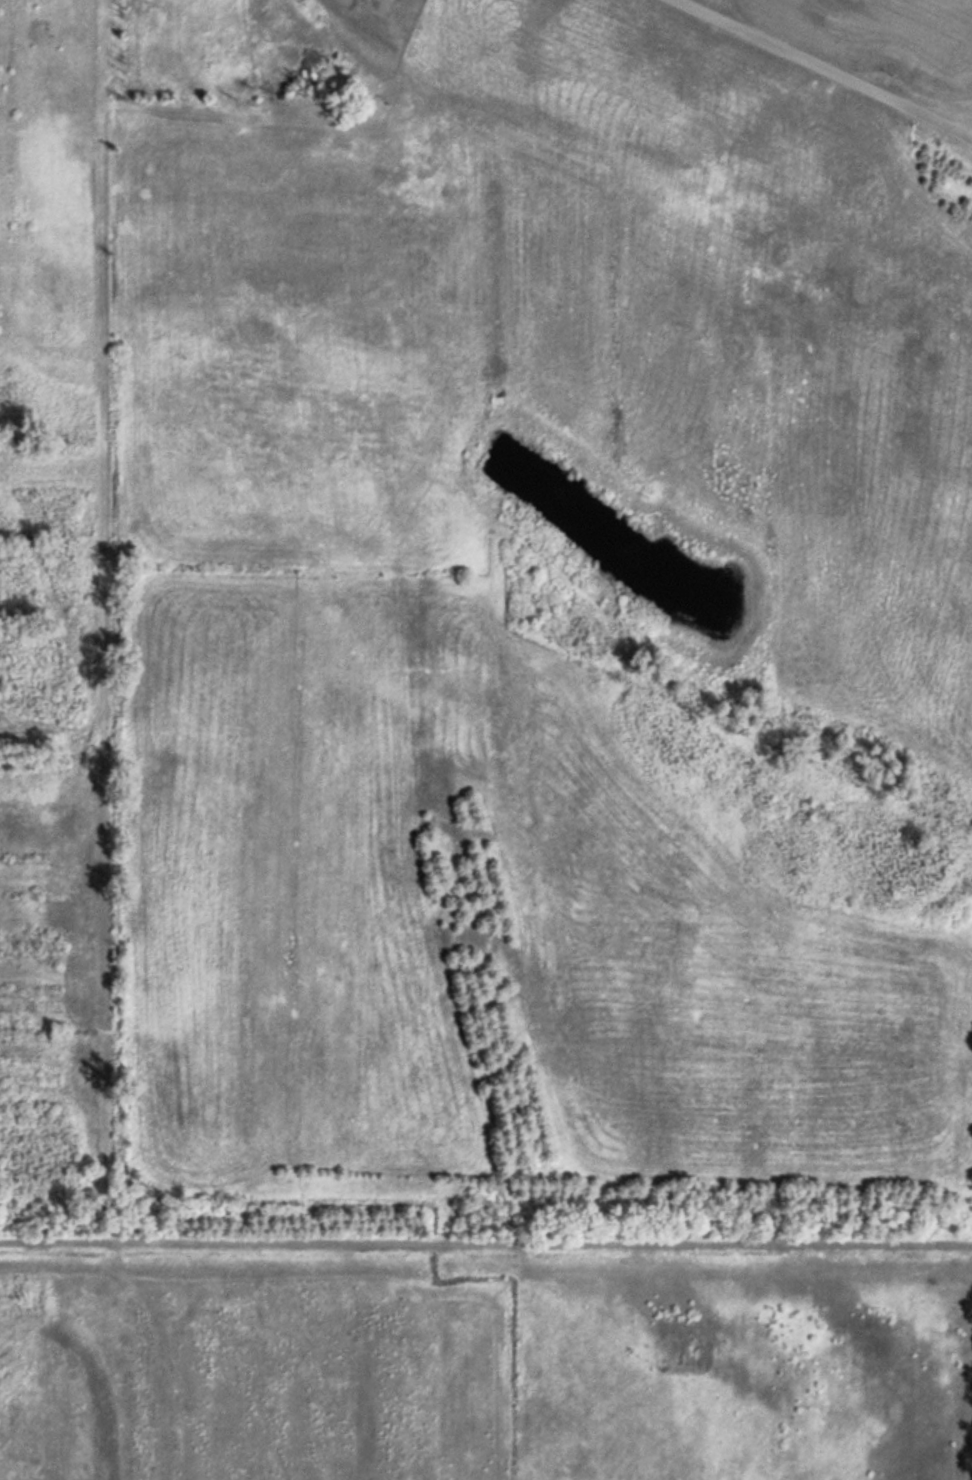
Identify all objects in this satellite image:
road: (828, 65)
road: (962, 119)

